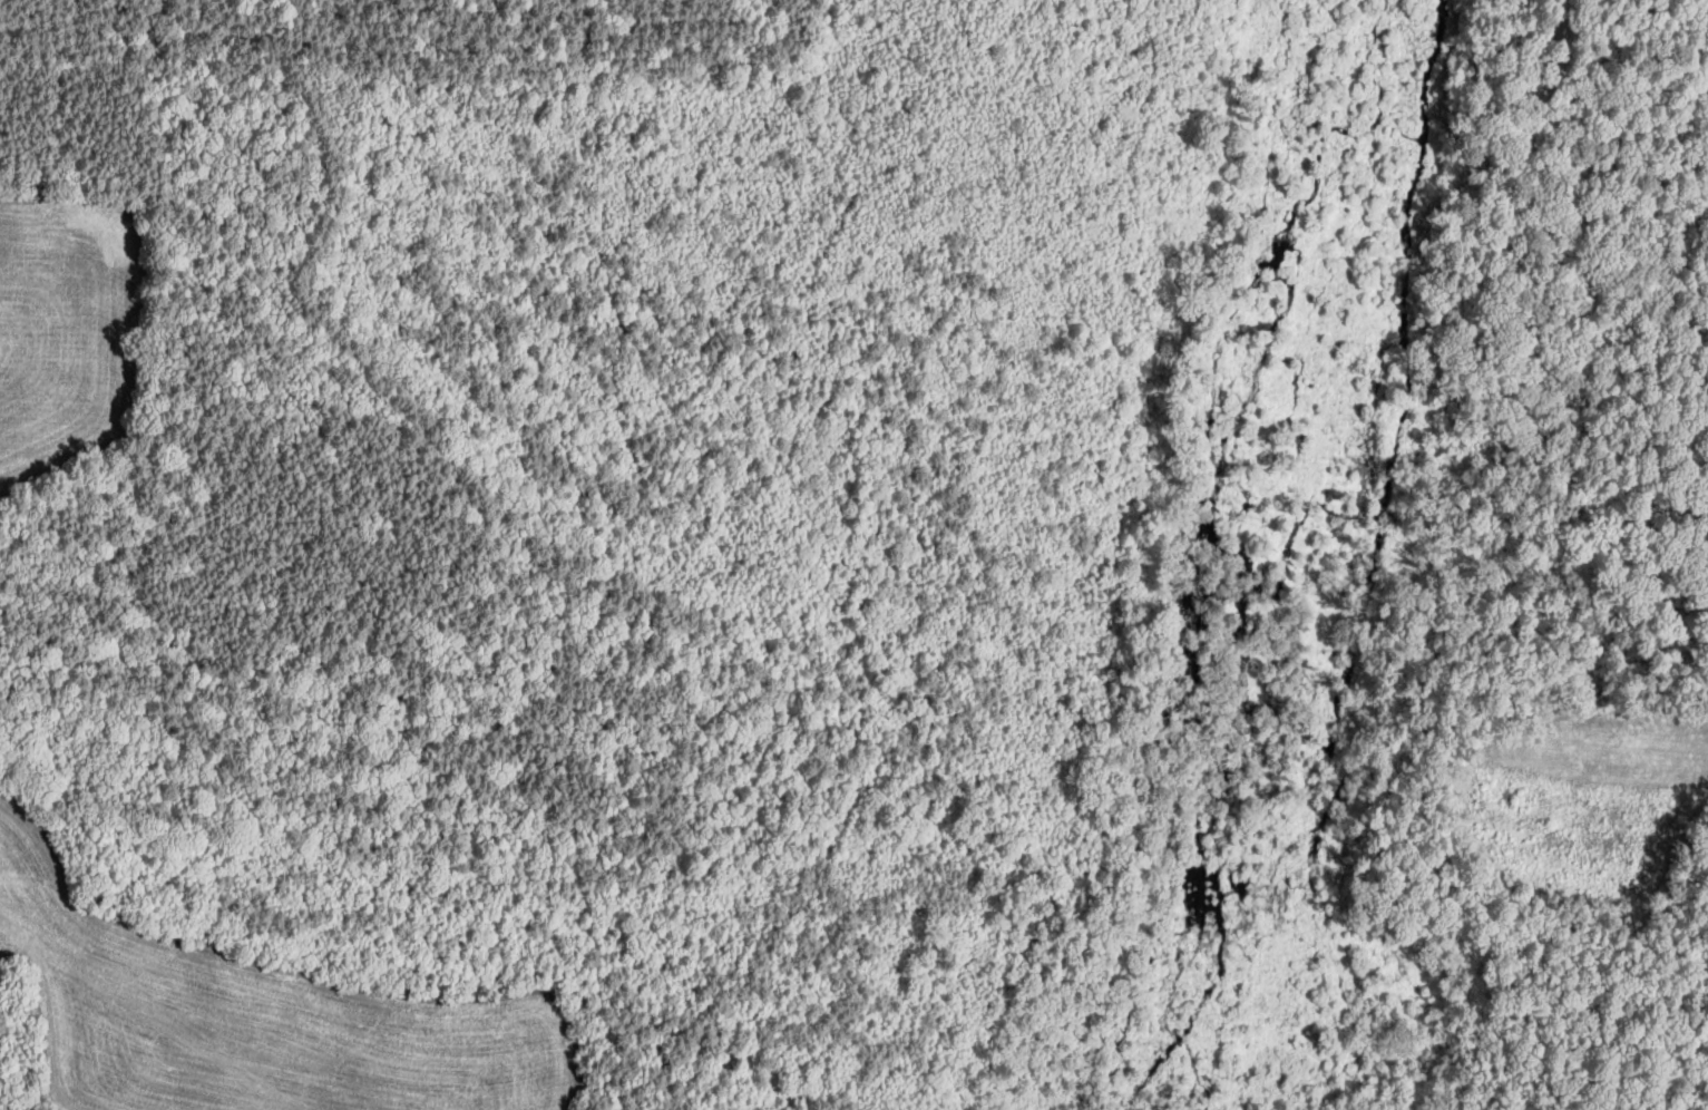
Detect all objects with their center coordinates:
road: (170, 376)

